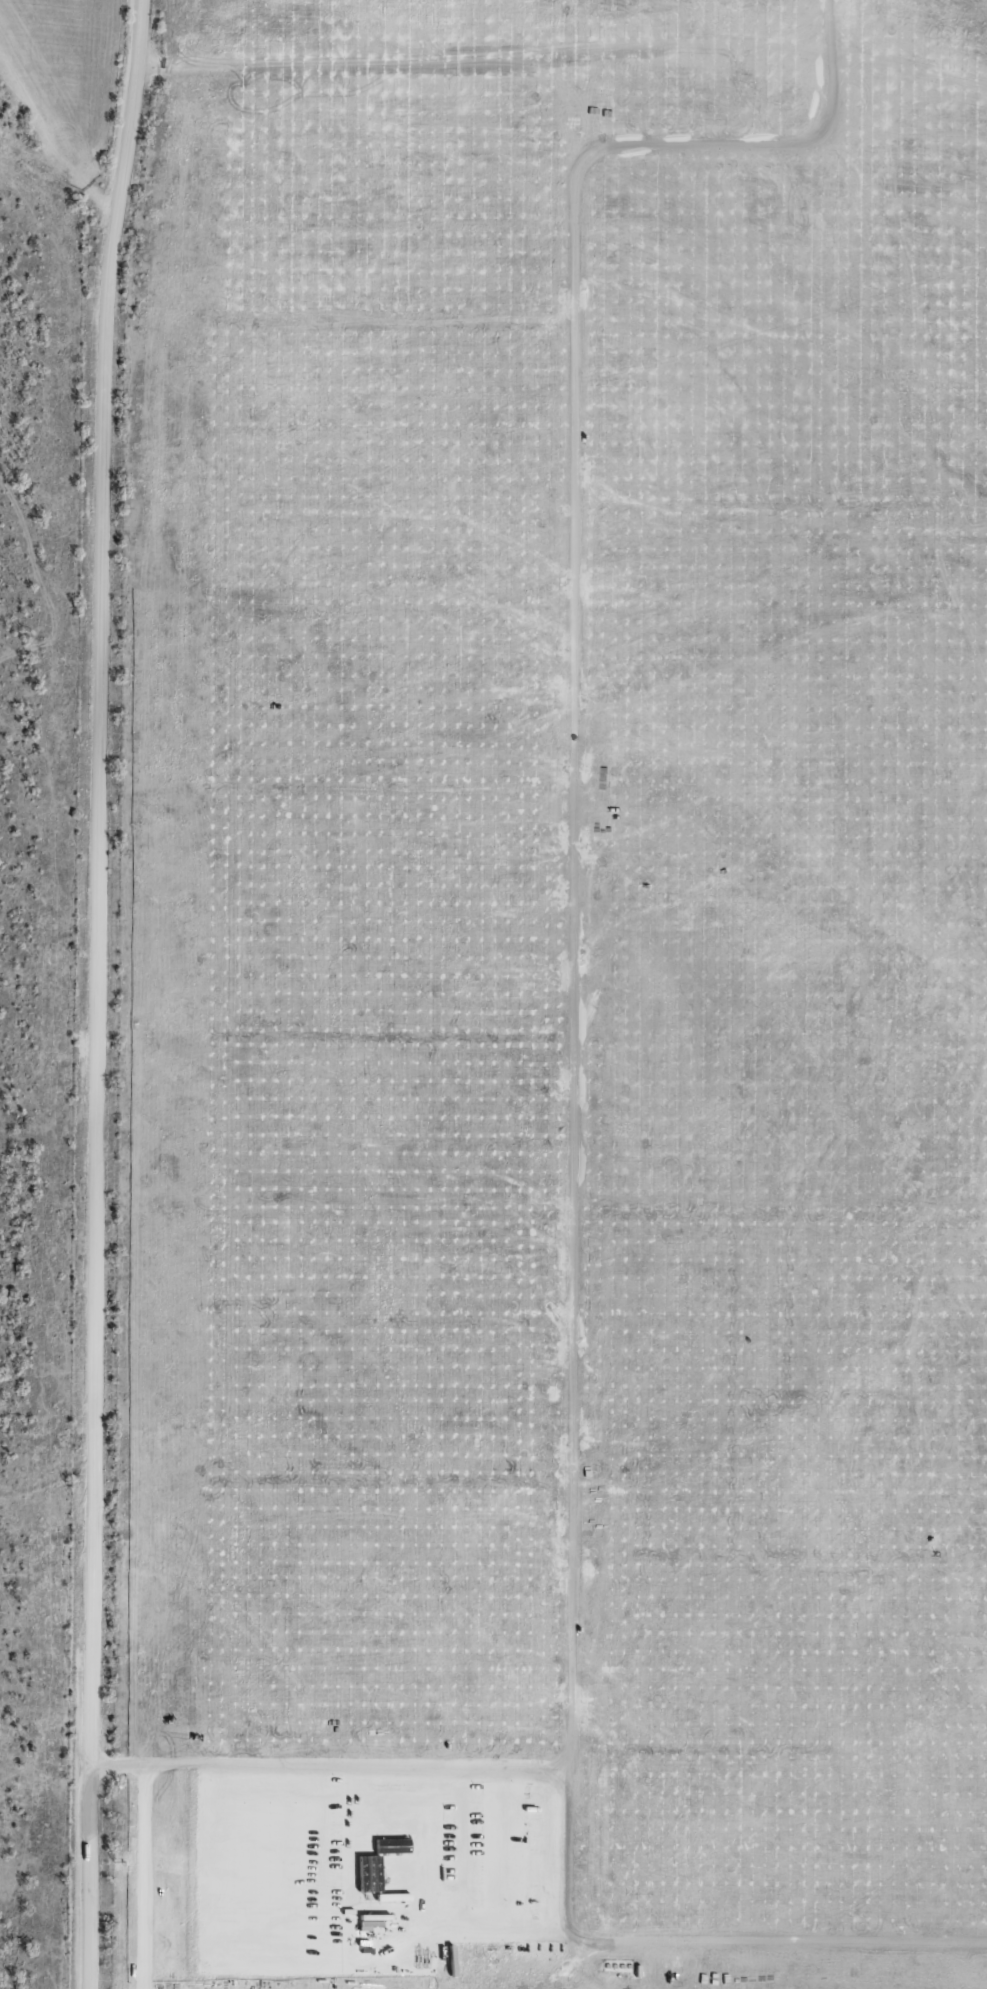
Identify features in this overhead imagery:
road: (567, 48)
road: (95, 992)

